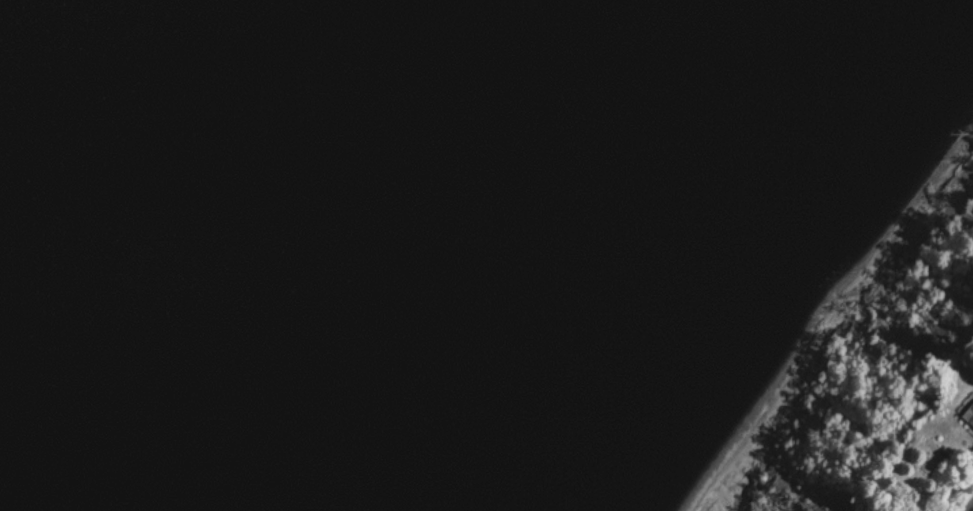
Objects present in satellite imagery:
building: (969, 416)
road: (970, 507)

